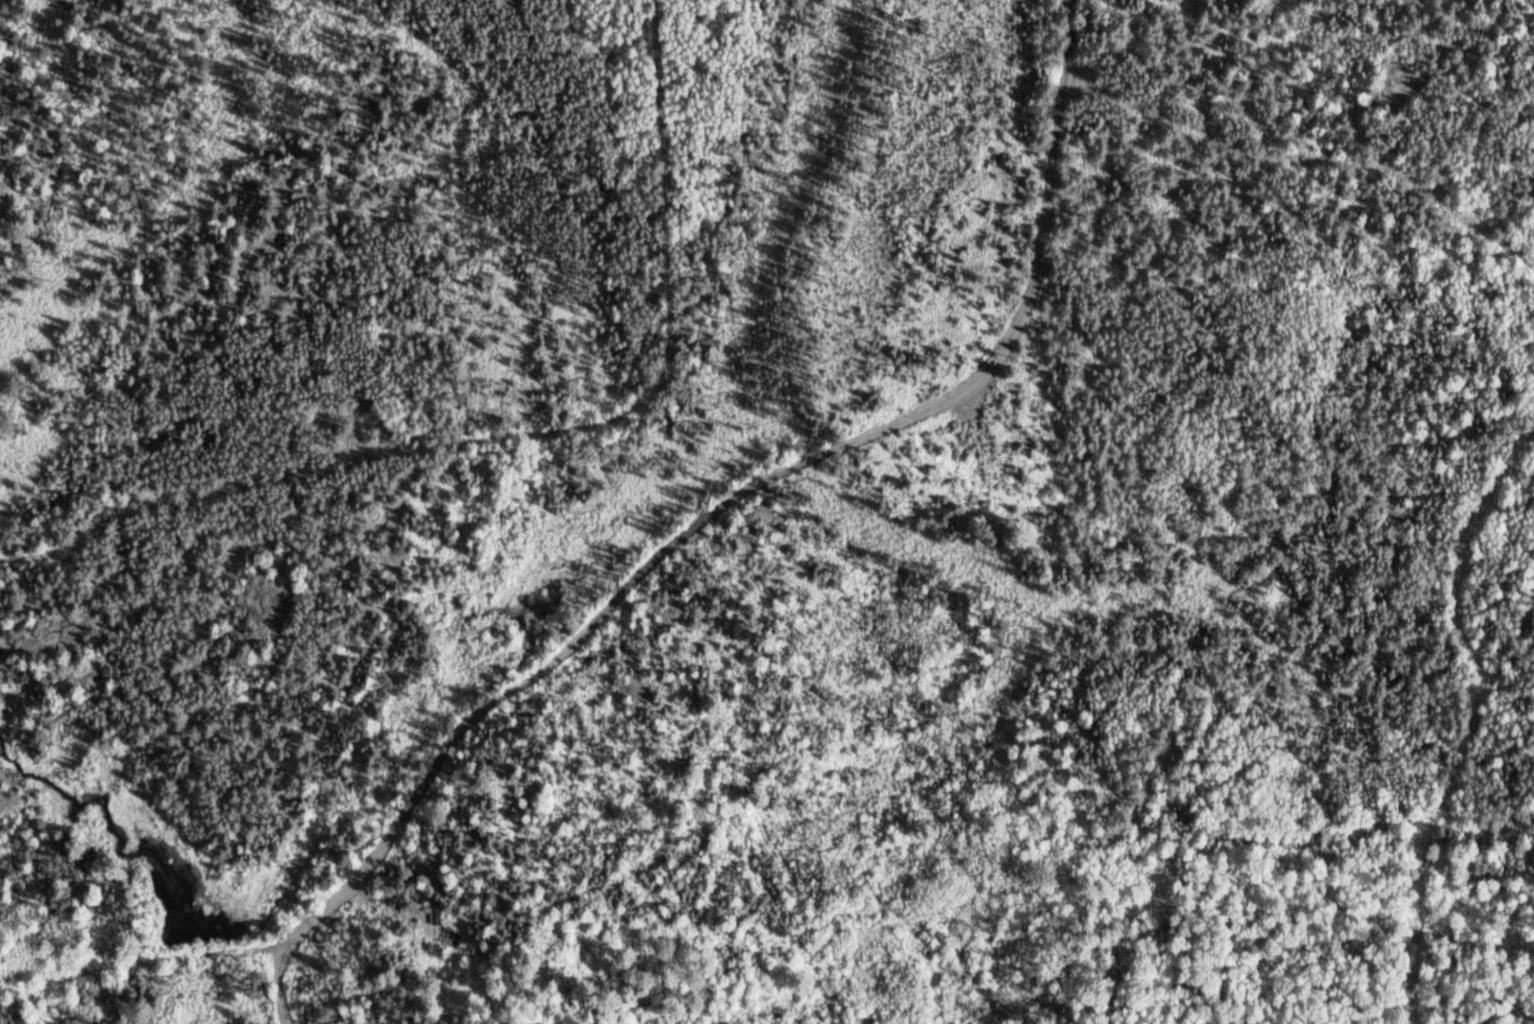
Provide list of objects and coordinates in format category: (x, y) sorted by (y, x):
road: (523, 431)
road: (710, 516)
building: (449, 936)
road: (136, 962)

